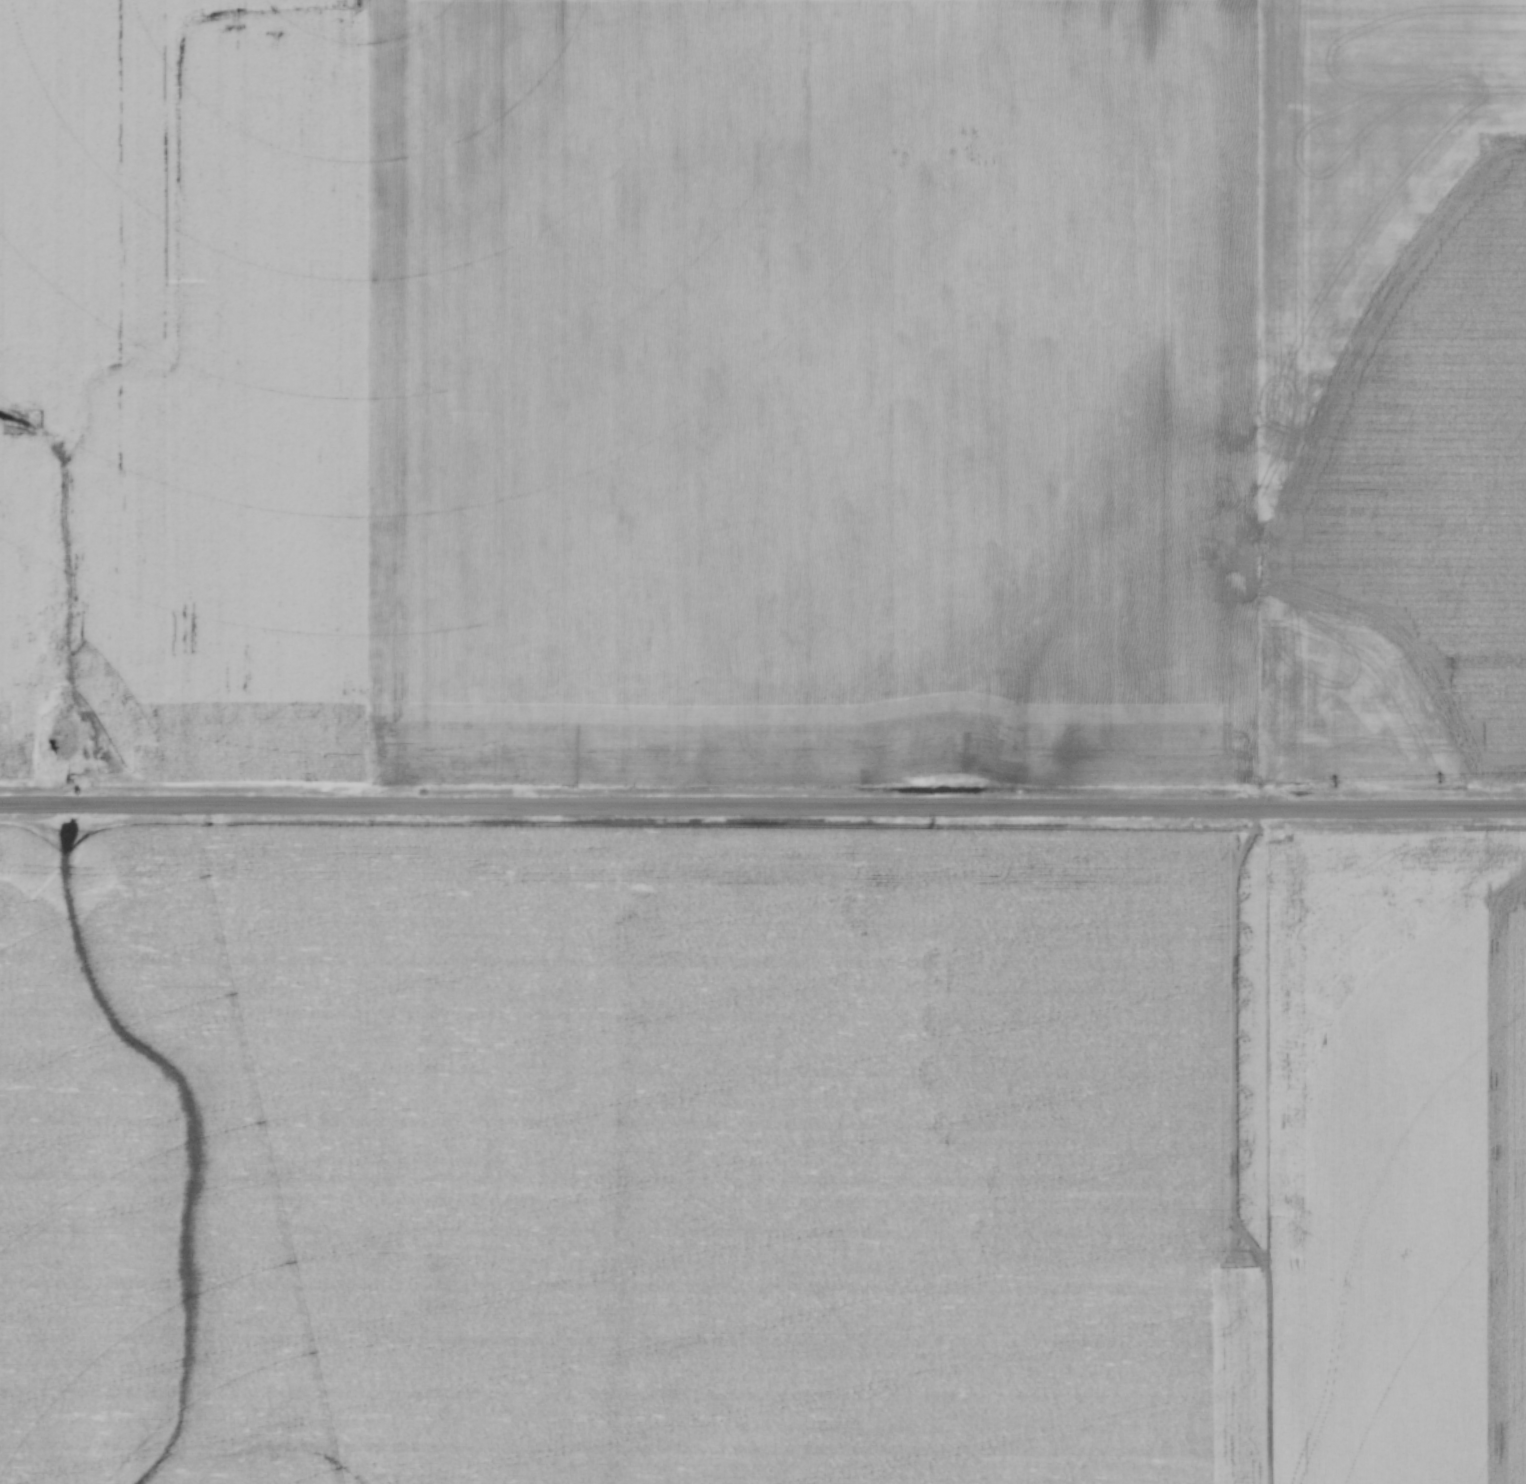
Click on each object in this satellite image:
road: (762, 810)

